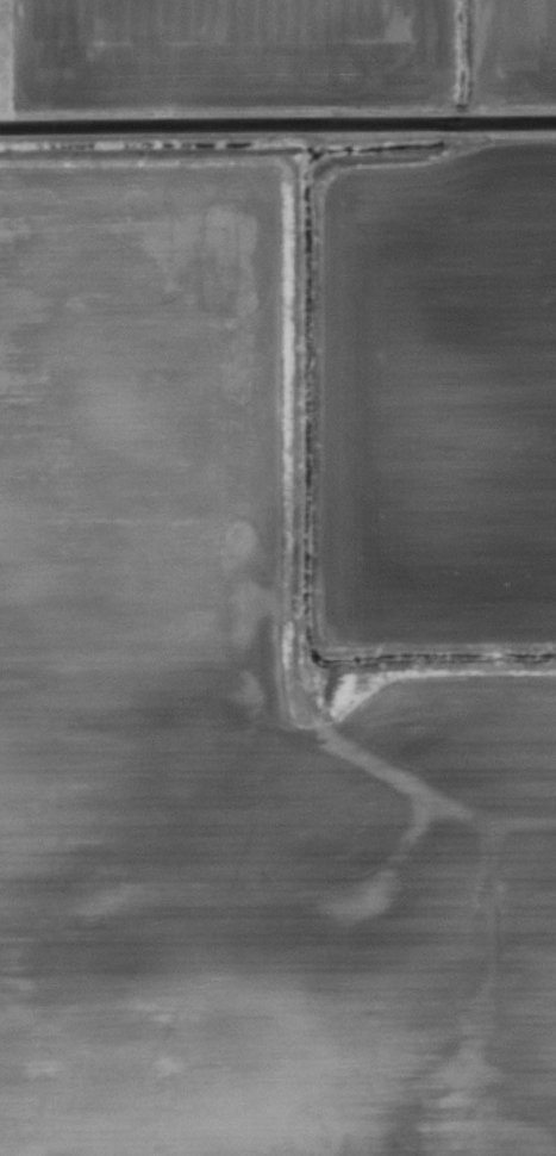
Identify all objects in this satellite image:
road: (277, 122)

